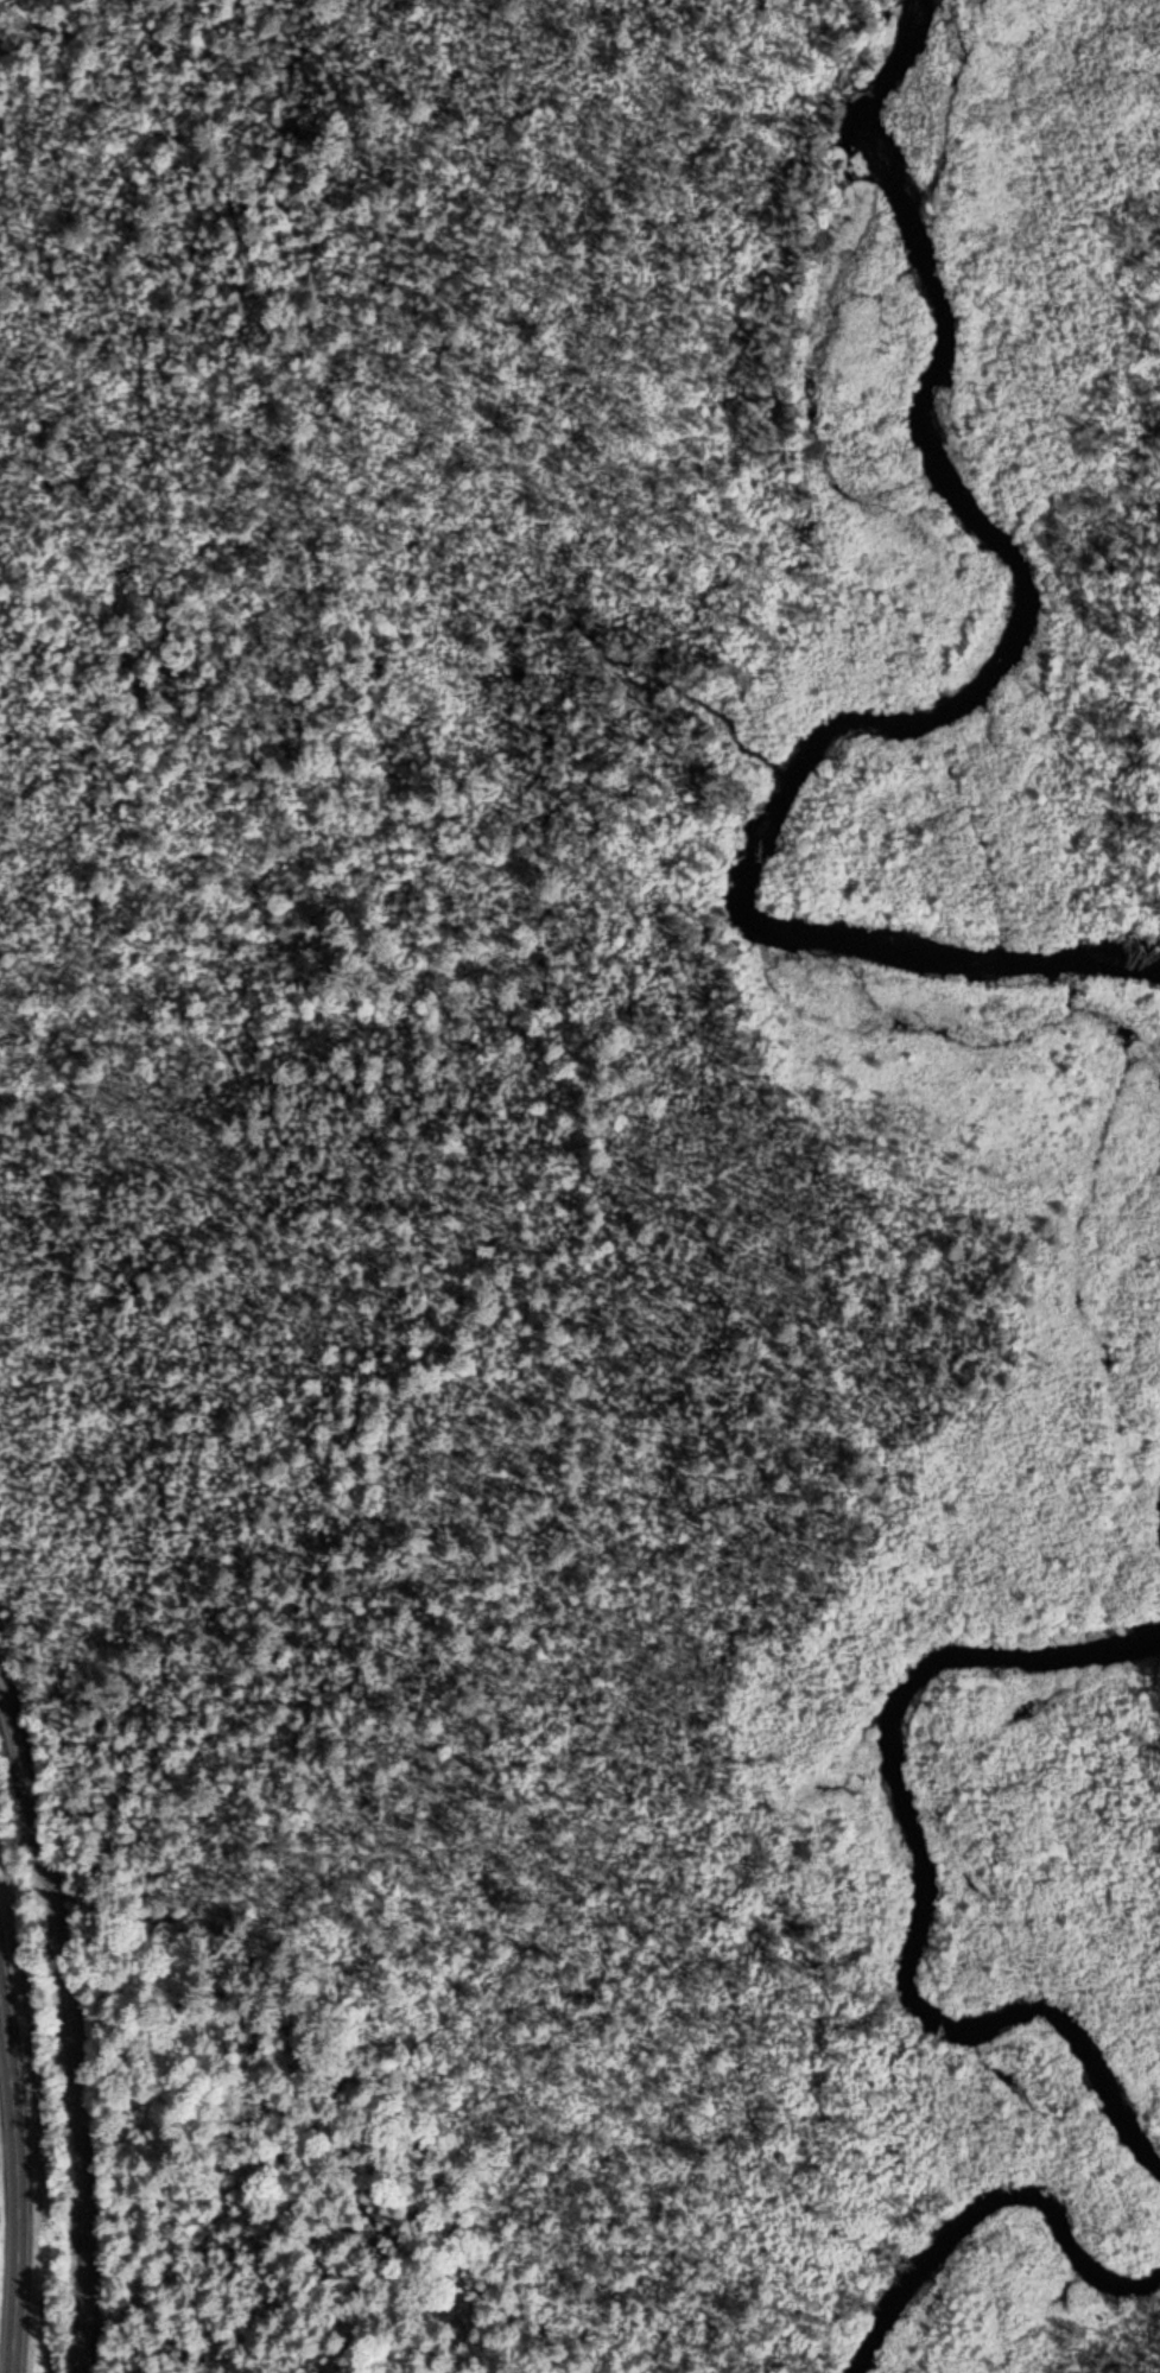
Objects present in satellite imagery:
river: (965, 691)
river: (917, 1880)
railway: (74, 2033)
road: (19, 2165)
river: (987, 2204)

